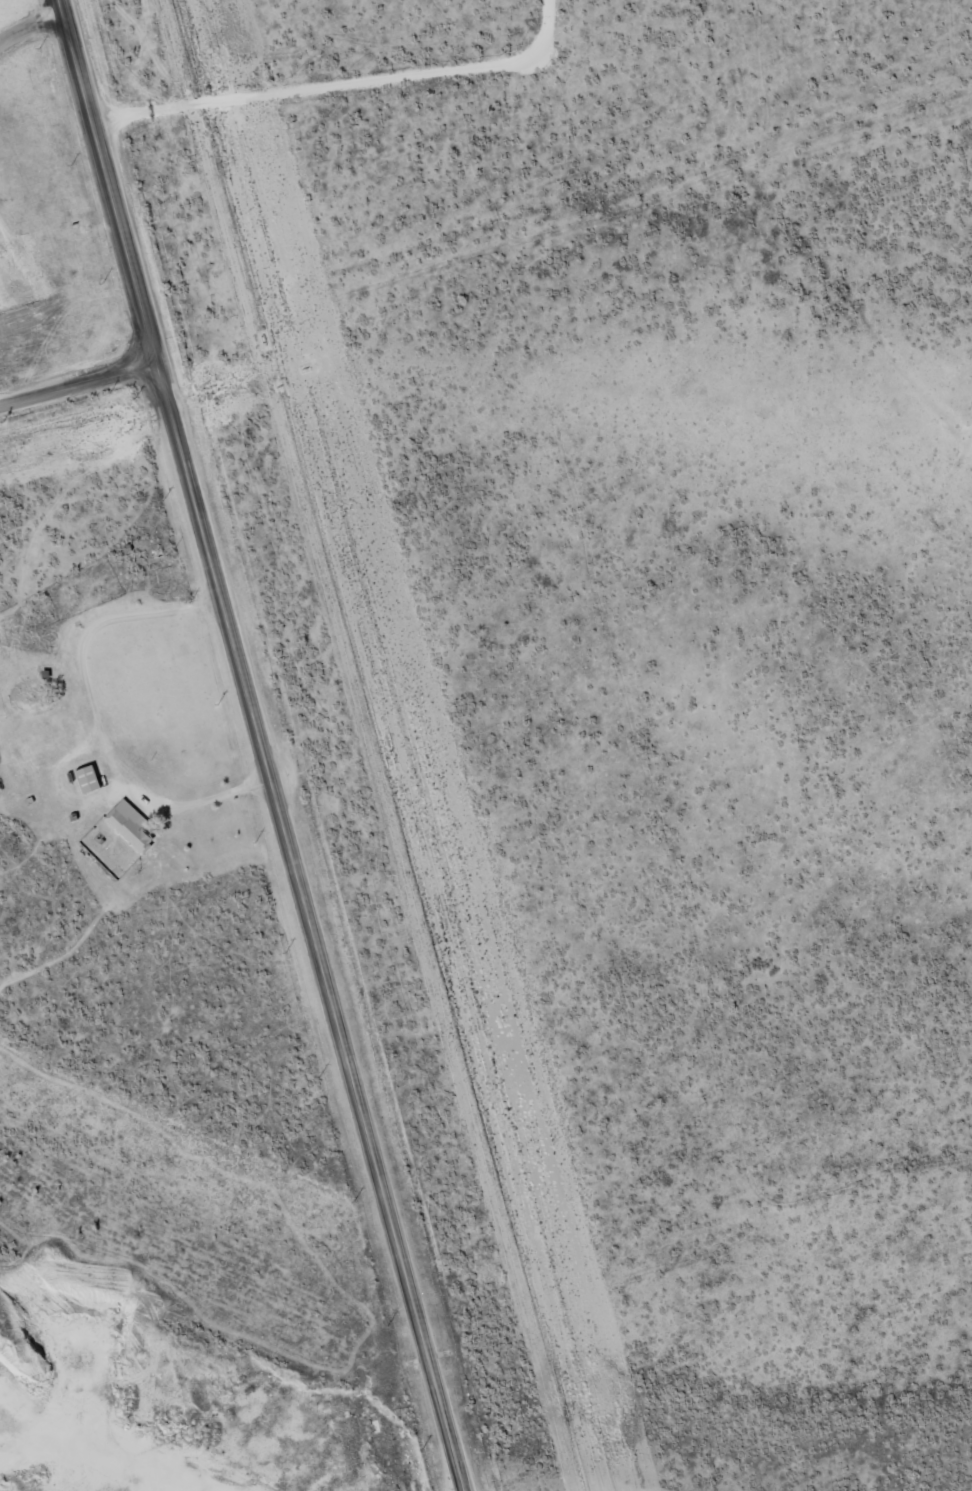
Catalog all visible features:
road: (30, 26)
road: (78, 380)
road: (95, 719)
road: (261, 745)
river: (459, 1380)

